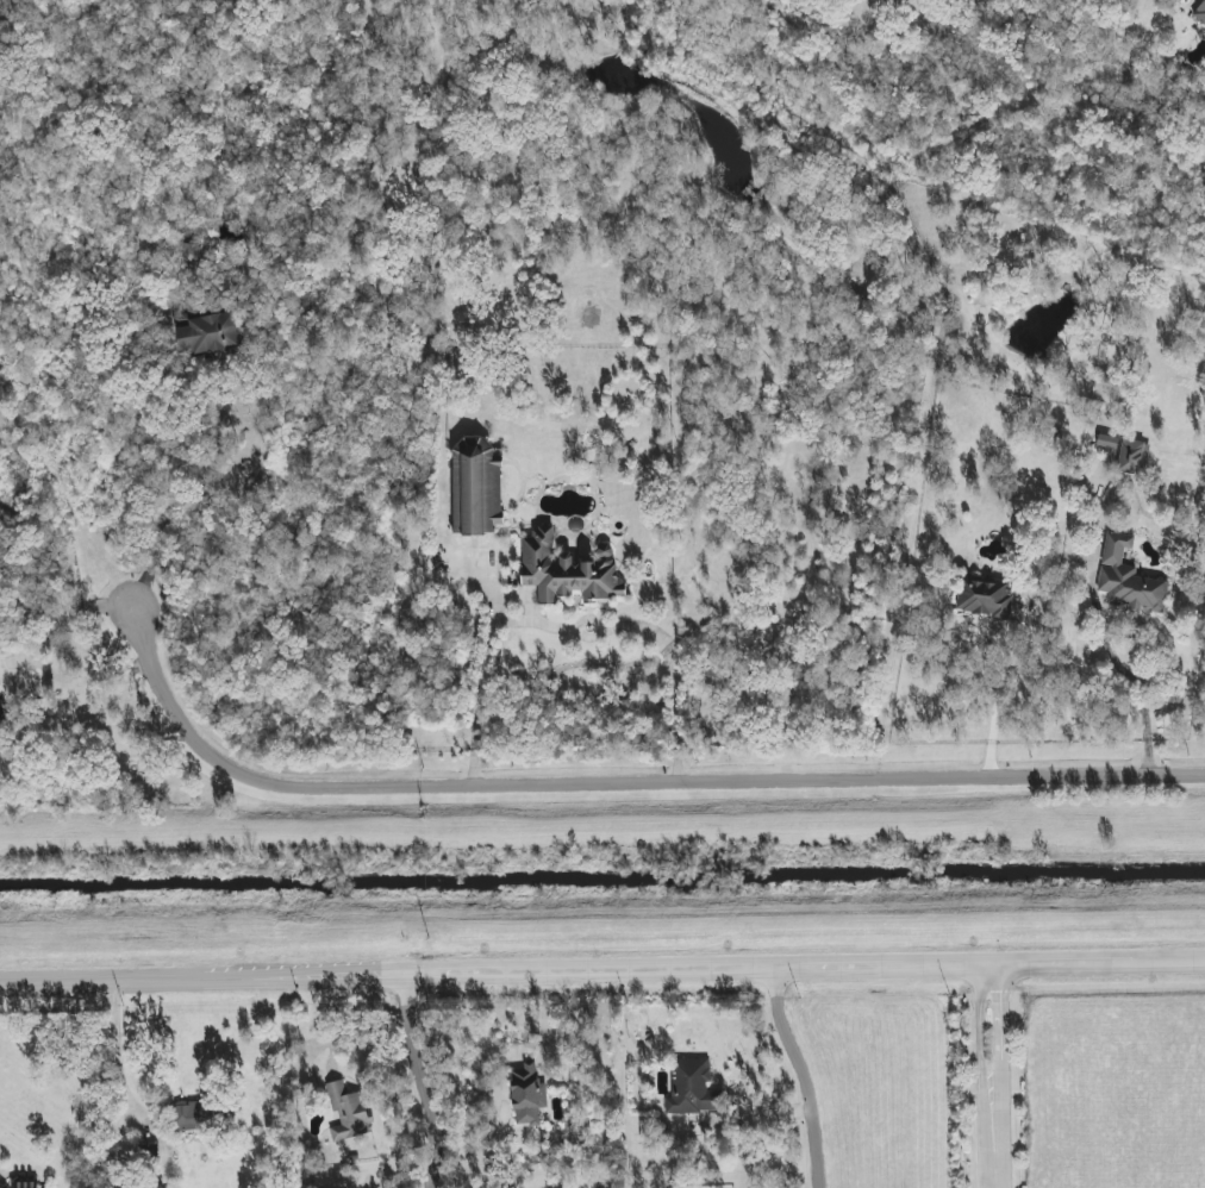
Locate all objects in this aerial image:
building: (1201, 10)
building: (189, 255)
building: (208, 333)
building: (1107, 442)
building: (1132, 456)
road: (146, 480)
building: (479, 488)
building: (567, 570)
building: (1128, 579)
road: (15, 588)
building: (984, 598)
road: (81, 607)
road: (15, 614)
road: (570, 630)
road: (1128, 676)
road: (75, 681)
building: (0, 696)
road: (1000, 699)
road: (619, 783)
road: (601, 968)
road: (798, 1075)
road: (997, 1075)
road: (120, 1076)
road: (980, 1076)
road: (417, 1080)
building: (692, 1087)
airport: (1113, 1092)
building: (527, 1095)
building: (348, 1112)
building: (180, 1118)

